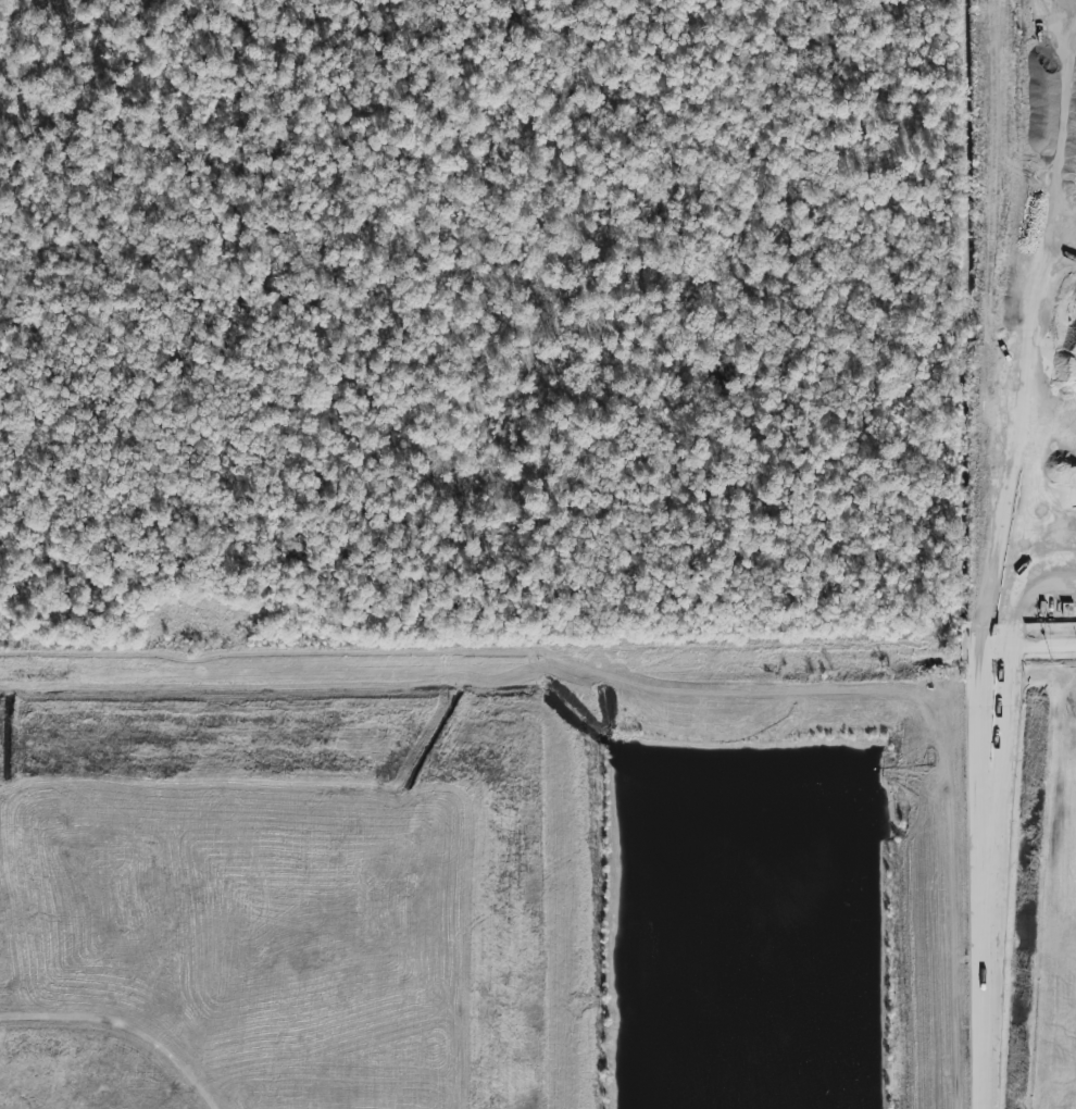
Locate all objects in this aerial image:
road: (1030, 646)
road: (980, 877)
landfill: (470, 887)

